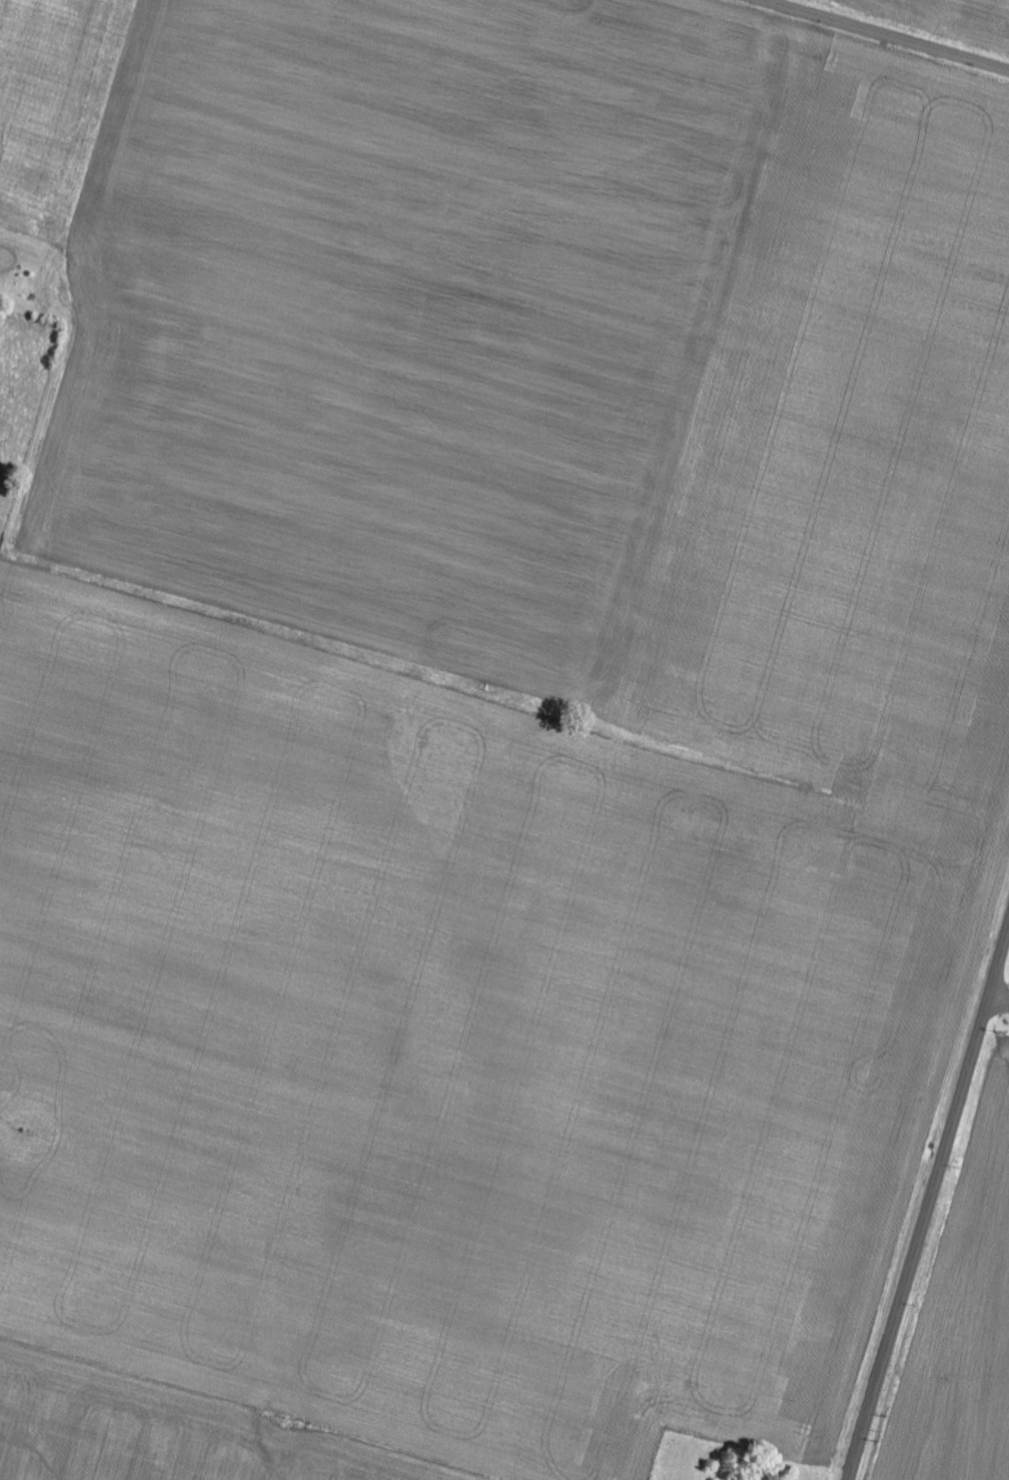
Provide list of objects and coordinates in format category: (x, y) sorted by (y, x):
road: (883, 35)
road: (999, 999)
road: (929, 1203)

